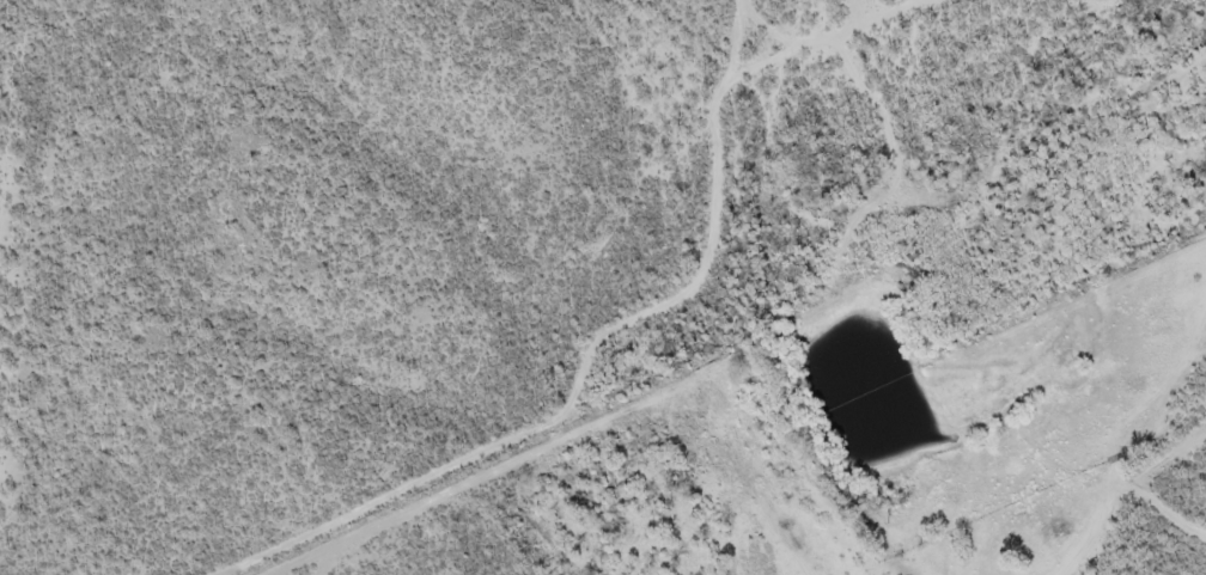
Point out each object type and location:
road: (744, 311)
road: (574, 396)
road: (1138, 442)

